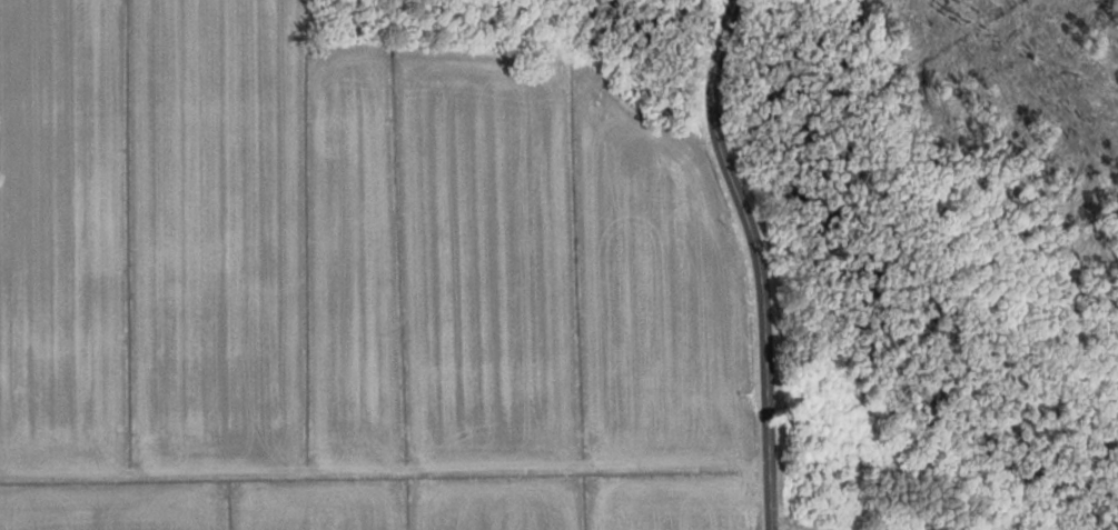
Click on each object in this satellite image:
road: (750, 259)

